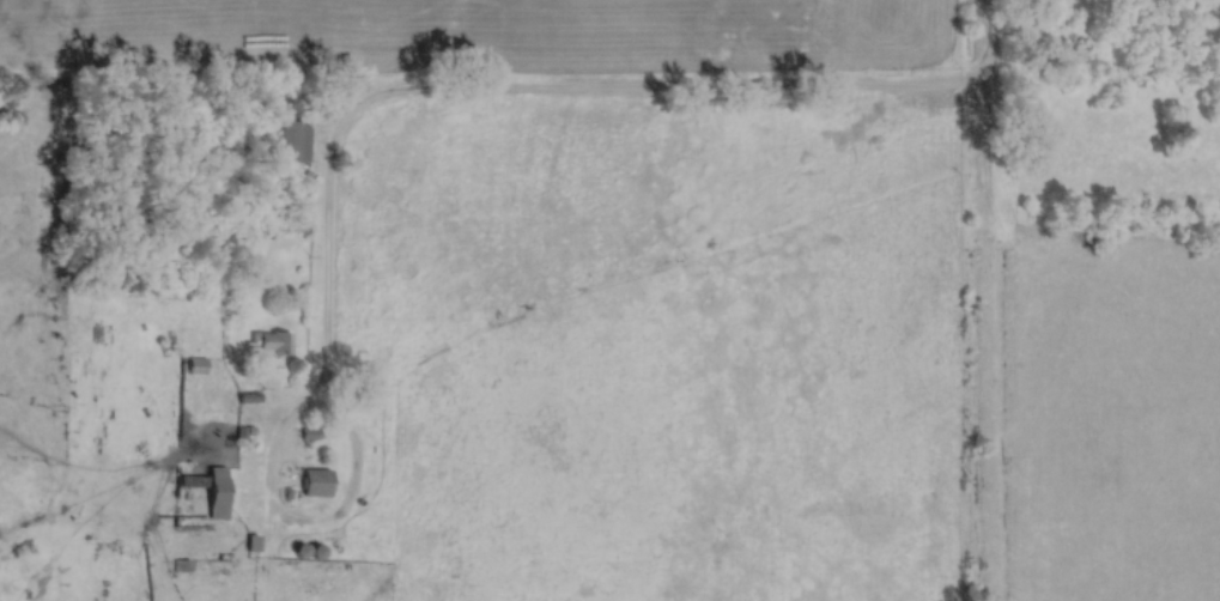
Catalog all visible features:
road: (526, 97)
building: (290, 142)
road: (991, 299)
building: (271, 344)
building: (195, 366)
building: (309, 436)
building: (312, 482)
building: (214, 494)
road: (279, 523)

